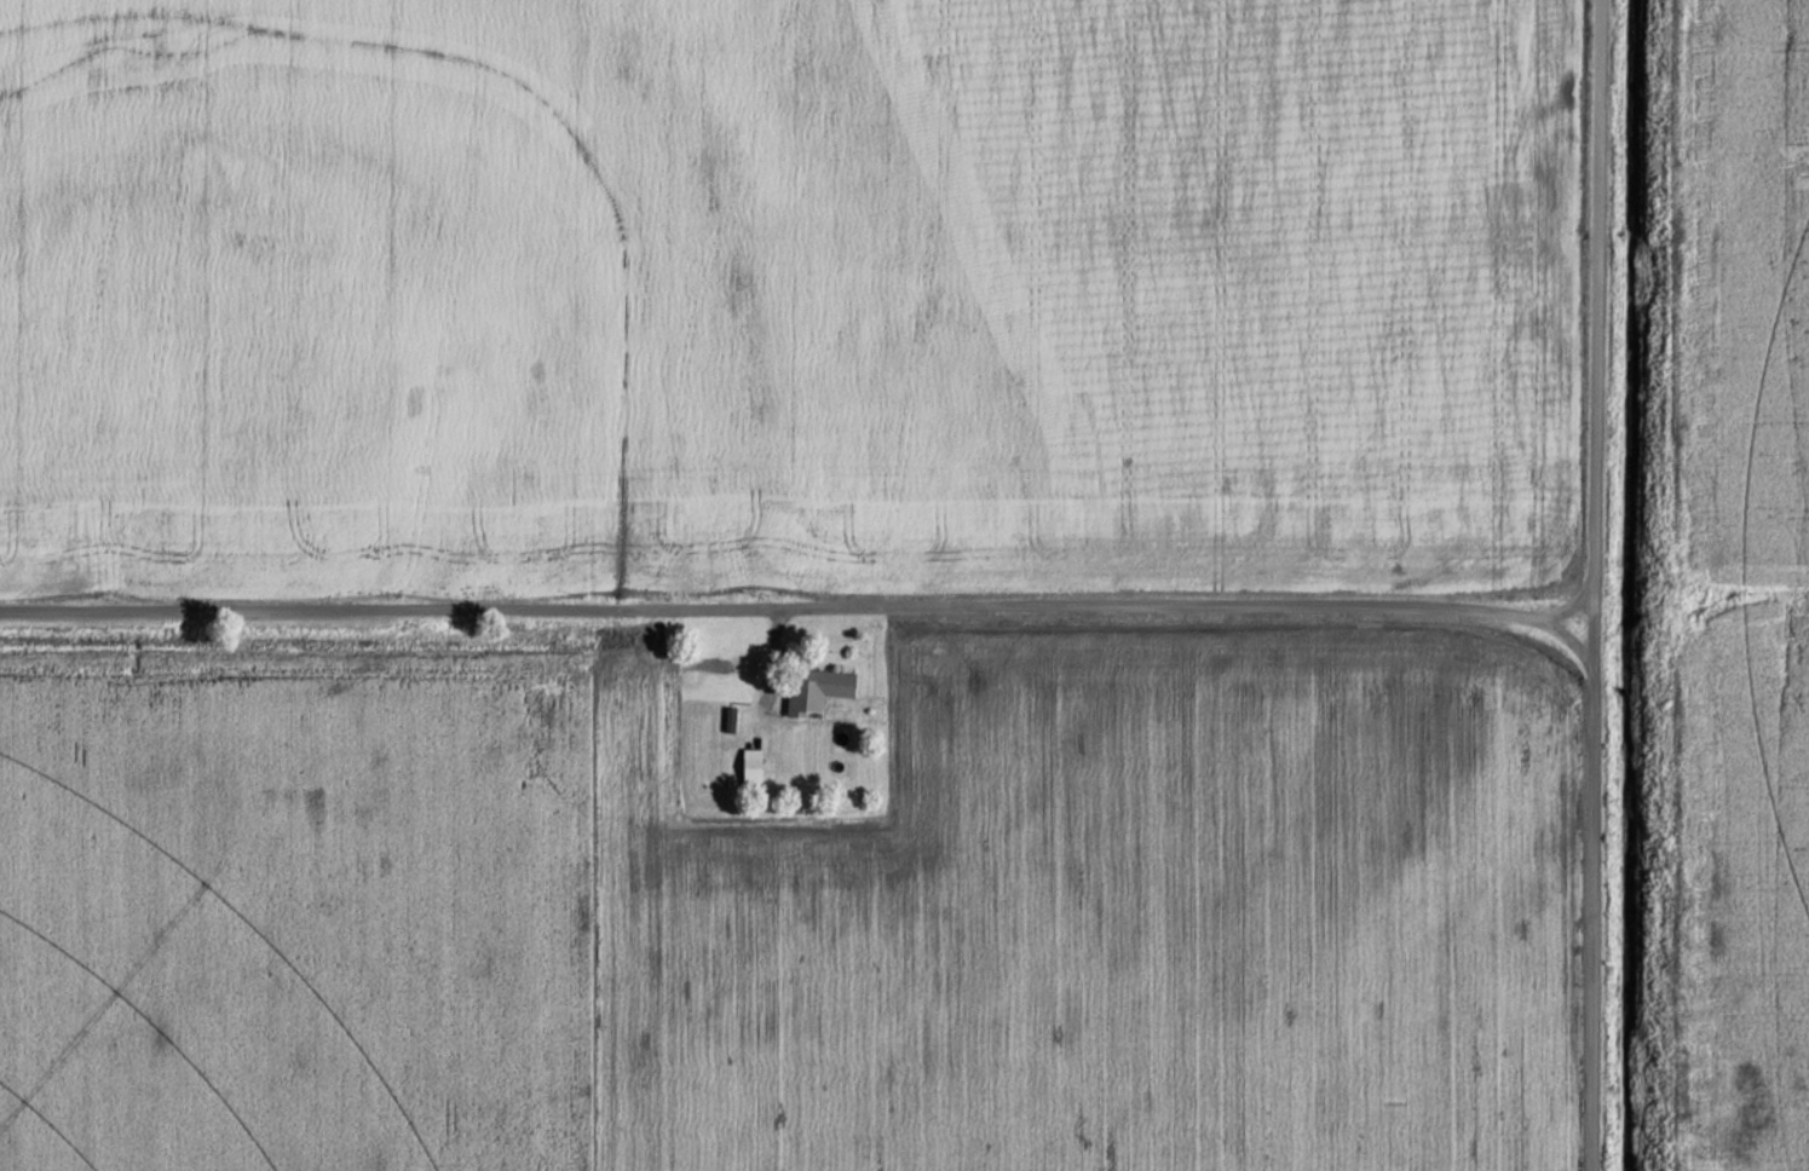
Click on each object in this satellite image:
road: (1590, 584)
road: (795, 605)
road: (772, 646)
building: (818, 687)
building: (754, 763)

